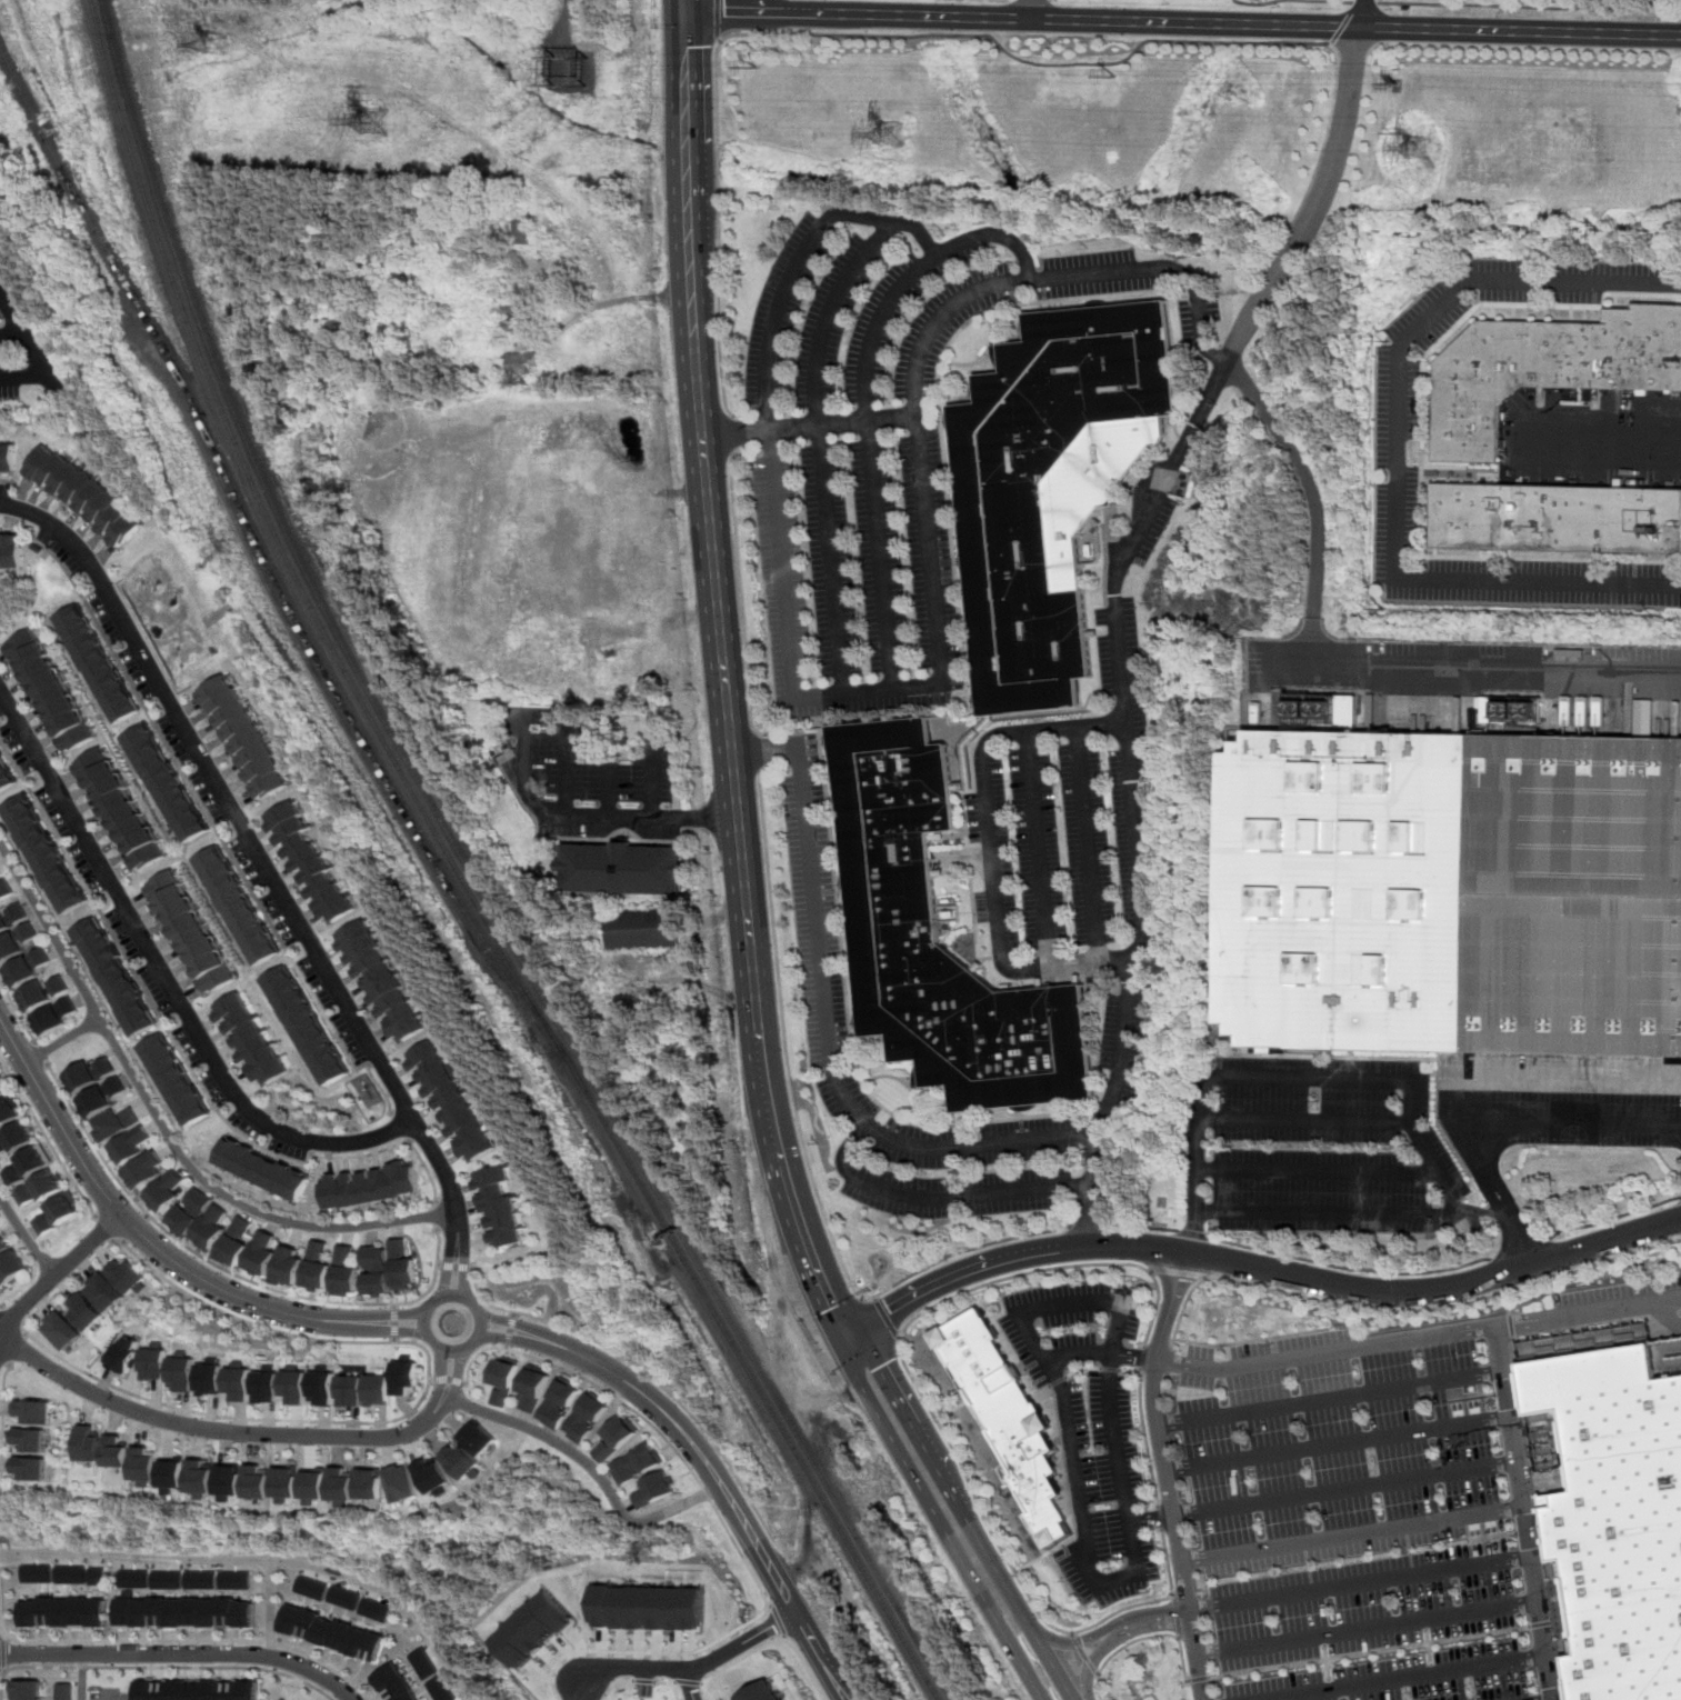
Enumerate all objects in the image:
road: (1290, 0)
road: (1363, 3)
road: (681, 6)
road: (1528, 7)
road: (1032, 9)
traffic signals: (682, 11)
road: (726, 11)
road: (778, 12)
road: (804, 12)
road: (717, 18)
road: (1252, 22)
road: (1343, 23)
power tower: (222, 50)
road: (1055, 64)
power tower: (773, 76)
power tower: (577, 78)
power tower: (1132, 82)
power tower: (1397, 91)
road: (684, 93)
power tower: (388, 128)
power tower: (905, 141)
power tower: (1412, 154)
road: (718, 197)
road: (1304, 198)
building: (523, 232)
road: (1299, 238)
road: (689, 257)
road: (1059, 277)
road: (787, 284)
building: (519, 309)
road: (12, 334)
road: (37, 354)
building: (523, 361)
building: (1547, 369)
road: (864, 397)
parking lot: (1399, 399)
road: (818, 419)
road: (734, 433)
road: (737, 434)
parking lot: (881, 441)
road: (1608, 442)
road: (1397, 451)
building: (8, 460)
building: (83, 494)
road: (1319, 496)
parking lot: (1145, 517)
building: (1555, 518)
building: (1002, 538)
building: (11, 548)
railway: (268, 557)
road: (743, 593)
building: (97, 663)
road: (1467, 663)
road: (726, 683)
road: (940, 684)
building: (52, 690)
building: (1644, 717)
building: (246, 737)
road: (810, 744)
road: (763, 750)
road: (690, 766)
road: (654, 776)
building: (4, 779)
parking lot: (587, 779)
building: (167, 783)
road: (611, 788)
road: (530, 792)
building: (122, 809)
road: (707, 820)
parking lot: (1068, 828)
road: (219, 832)
road: (1087, 846)
road: (992, 847)
road: (1138, 848)
road: (1038, 849)
road: (256, 850)
building: (44, 854)
road: (700, 856)
building: (309, 863)
building: (627, 869)
building: (0, 871)
railway: (461, 876)
railway: (472, 876)
building: (893, 889)
building: (4, 890)
building: (1451, 892)
building: (239, 907)
building: (647, 930)
building: (193, 931)
building: (14, 932)
building: (27, 968)
building: (117, 978)
road: (167, 980)
building: (380, 982)
building: (42, 992)
parking lot: (822, 994)
road: (18, 1010)
building: (57, 1016)
road: (822, 1024)
building: (306, 1027)
road: (852, 1028)
road: (62, 1040)
building: (251, 1040)
road: (36, 1043)
road: (180, 1050)
parking lot: (1122, 1050)
road: (41, 1056)
road: (788, 1056)
building: (91, 1073)
building: (176, 1080)
road: (1313, 1080)
building: (3, 1086)
building: (101, 1097)
road: (767, 1097)
building: (450, 1102)
parking lot: (1558, 1102)
building: (9, 1111)
road: (1489, 1119)
road: (1304, 1120)
building: (117, 1122)
road: (398, 1126)
road: (892, 1128)
road: (164, 1129)
road: (1021, 1130)
building: (16, 1138)
road: (47, 1139)
building: (132, 1146)
parking lot: (1329, 1148)
building: (27, 1164)
building: (262, 1169)
building: (146, 1170)
road: (1318, 1171)
building: (370, 1186)
building: (38, 1188)
building: (168, 1192)
road: (1680, 1196)
road: (935, 1199)
building: (498, 1209)
building: (191, 1211)
road: (1330, 1212)
building: (56, 1214)
road: (439, 1216)
road: (1611, 1218)
building: (212, 1227)
road: (1089, 1227)
road: (1139, 1227)
road: (106, 1228)
road: (136, 1231)
road: (137, 1231)
road: (1187, 1232)
road: (26, 1239)
road: (114, 1241)
building: (237, 1241)
building: (2, 1247)
road: (978, 1247)
road: (1519, 1247)
road: (810, 1251)
building: (262, 1254)
building: (288, 1266)
building: (401, 1266)
building: (10, 1267)
building: (318, 1267)
road: (454, 1267)
road: (462, 1268)
road: (1057, 1268)
road: (224, 1269)
road: (1350, 1269)
road: (446, 1270)
building: (344, 1271)
building: (376, 1271)
road: (1179, 1272)
road: (963, 1273)
road: (53, 1277)
building: (129, 1277)
road: (172, 1282)
building: (107, 1292)
road: (1389, 1292)
road: (984, 1303)
traffic signals: (834, 1307)
road: (1, 1308)
road: (1369, 1309)
traffic signals: (889, 1310)
building: (86, 1311)
road: (399, 1314)
road: (11, 1318)
road: (885, 1318)
road: (396, 1322)
road: (510, 1322)
parking lot: (1070, 1324)
road: (24, 1327)
road: (429, 1330)
road: (509, 1330)
road: (398, 1331)
building: (63, 1332)
road: (2, 1333)
road: (26, 1336)
road: (1417, 1338)
road: (508, 1340)
road: (1008, 1342)
road: (1215, 1346)
road: (14, 1348)
road: (1102, 1354)
building: (126, 1356)
road: (1143, 1357)
building: (154, 1361)
traffic signals: (881, 1366)
road: (1082, 1367)
road: (1110, 1368)
road: (1131, 1370)
road: (440, 1371)
building: (182, 1372)
road: (642, 1372)
road: (456, 1373)
building: (406, 1376)
building: (210, 1377)
building: (503, 1379)
road: (448, 1380)
road: (1058, 1381)
building: (238, 1382)
building: (266, 1384)
building: (293, 1386)
building: (533, 1387)
building: (321, 1388)
building: (349, 1389)
building: (378, 1389)
road: (1330, 1399)
building: (559, 1401)
road: (950, 1410)
building: (33, 1412)
building: (584, 1418)
building: (1005, 1418)
road: (649, 1423)
road: (915, 1428)
road: (220, 1431)
building: (616, 1437)
building: (479, 1438)
road: (687, 1438)
road: (1147, 1438)
building: (31, 1440)
road: (1512, 1441)
road: (1337, 1442)
building: (90, 1443)
road: (2, 1444)
building: (119, 1451)
road: (1062, 1461)
building: (463, 1462)
building: (636, 1463)
building: (146, 1466)
road: (592, 1467)
road: (907, 1467)
building: (30, 1469)
building: (173, 1474)
building: (201, 1476)
building: (433, 1476)
road: (1164, 1476)
building: (229, 1480)
building: (257, 1480)
building: (286, 1482)
building: (369, 1482)
building: (401, 1482)
building: (341, 1484)
building: (313, 1486)
building: (653, 1489)
parking lot: (1103, 1489)
road: (1342, 1489)
building: (1617, 1516)
road: (1159, 1518)
parking lot: (1350, 1518)
road: (1150, 1519)
road: (1349, 1533)
road: (1133, 1550)
road: (1044, 1554)
road: (266, 1560)
road: (992, 1560)
road: (1014, 1571)
building: (37, 1573)
building: (70, 1573)
road: (1427, 1573)
building: (97, 1576)
building: (134, 1579)
building: (168, 1580)
building: (201, 1580)
building: (236, 1580)
building: (309, 1588)
building: (208, 1593)
building: (342, 1598)
building: (647, 1607)
road: (269, 1609)
building: (372, 1609)
building: (62, 1612)
building: (184, 1612)
road: (1173, 1614)
road: (1145, 1619)
road: (778, 1621)
road: (1364, 1628)
building: (533, 1630)
road: (0, 1634)
building: (329, 1634)
road: (0, 1637)
road: (784, 1638)
road: (1141, 1638)
road: (192, 1640)
road: (1077, 1642)
road: (1073, 1643)
road: (767, 1644)
road: (813, 1644)
road: (1042, 1646)
road: (1425, 1646)
road: (1011, 1647)
road: (602, 1650)
road: (1368, 1652)
road: (0, 1653)
road: (1083, 1653)
road: (178, 1656)
road: (1323, 1662)
building: (423, 1663)
road: (1091, 1664)
road: (1091, 1666)
road: (169, 1667)
road: (1, 1671)
road: (686, 1671)
road: (1, 1673)
road: (82, 1678)
road: (1405, 1678)
road: (1195, 1679)
road: (643, 1680)
road: (689, 1683)
building: (394, 1684)
road: (618, 1684)
road: (670, 1684)
road: (689, 1687)
building: (441, 1689)
building: (198, 1690)
building: (24, 1691)
building: (62, 1691)
building: (759, 1692)
road: (110, 1696)
parking lot: (111, 1696)

